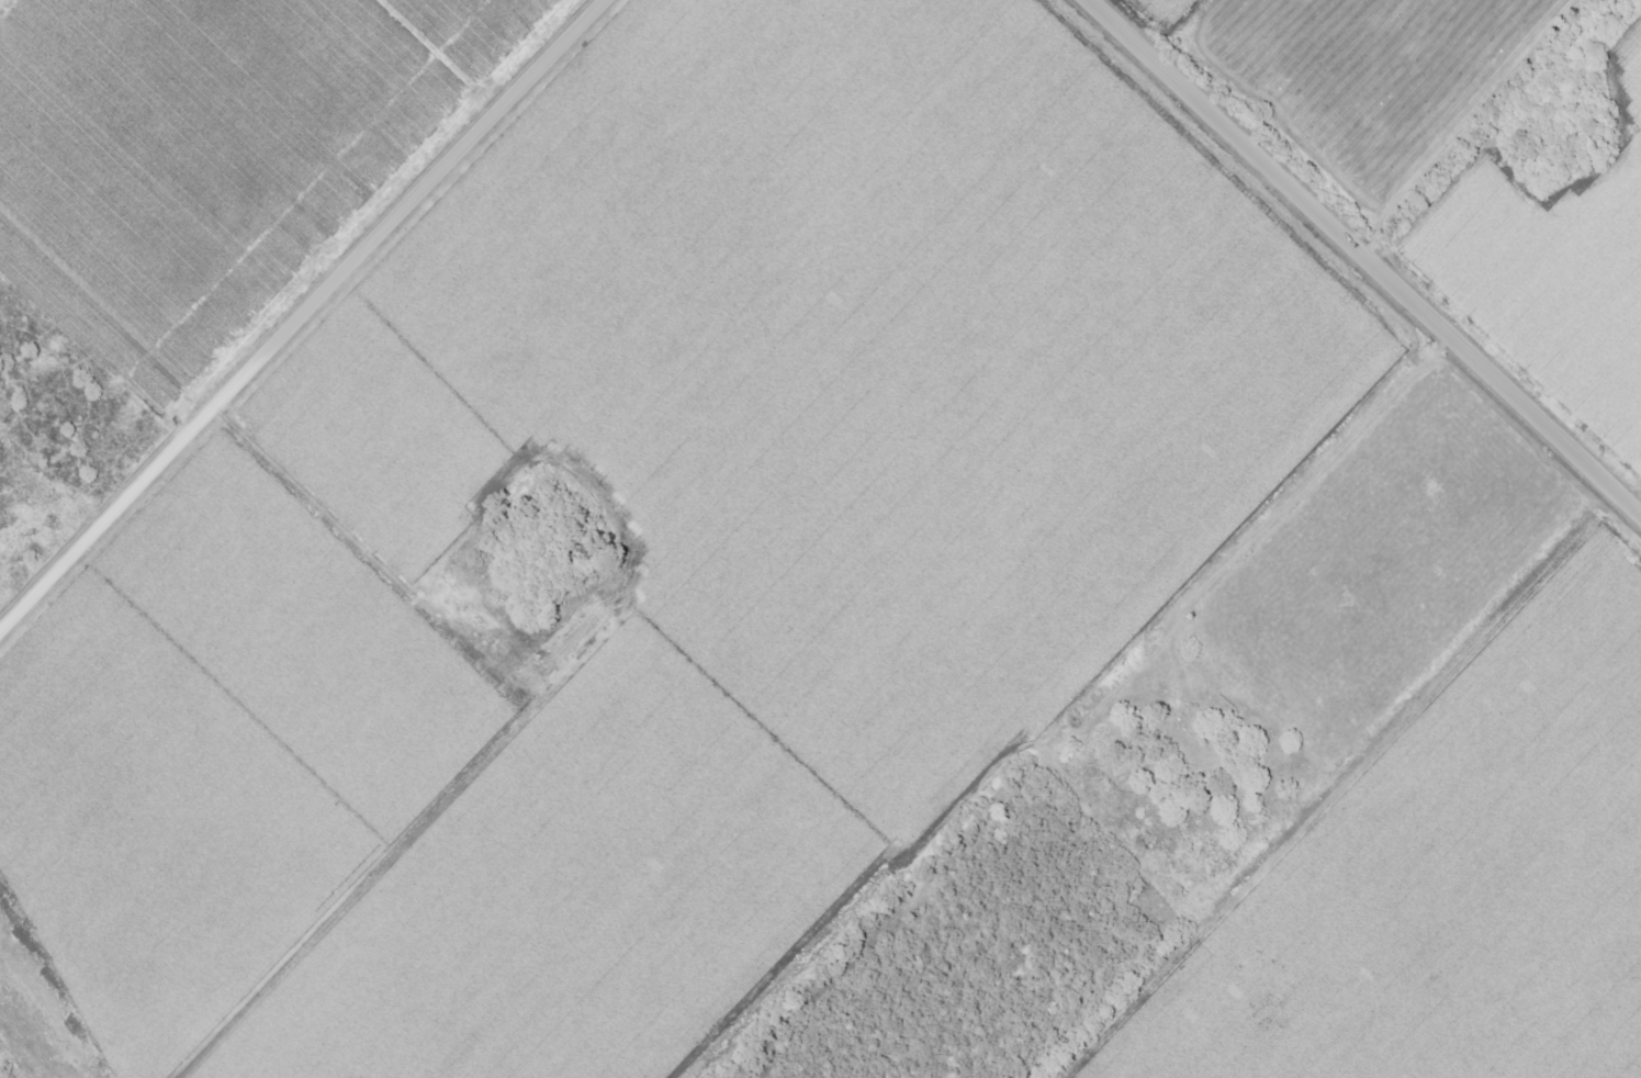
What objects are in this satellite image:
crop: (1162, 10)
crop: (210, 149)
road: (1367, 255)
road: (302, 316)

